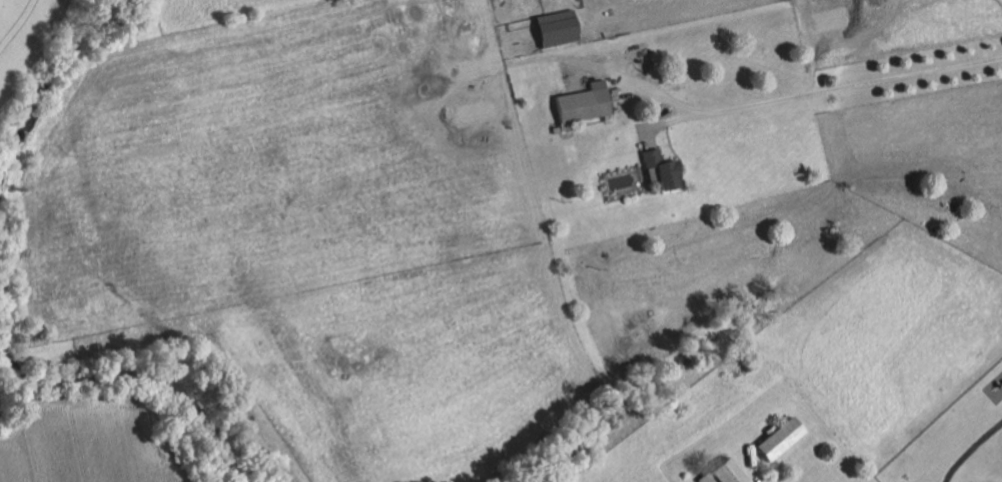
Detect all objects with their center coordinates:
building: (557, 28)
building: (582, 104)
building: (658, 169)
building: (776, 439)
building: (720, 473)

